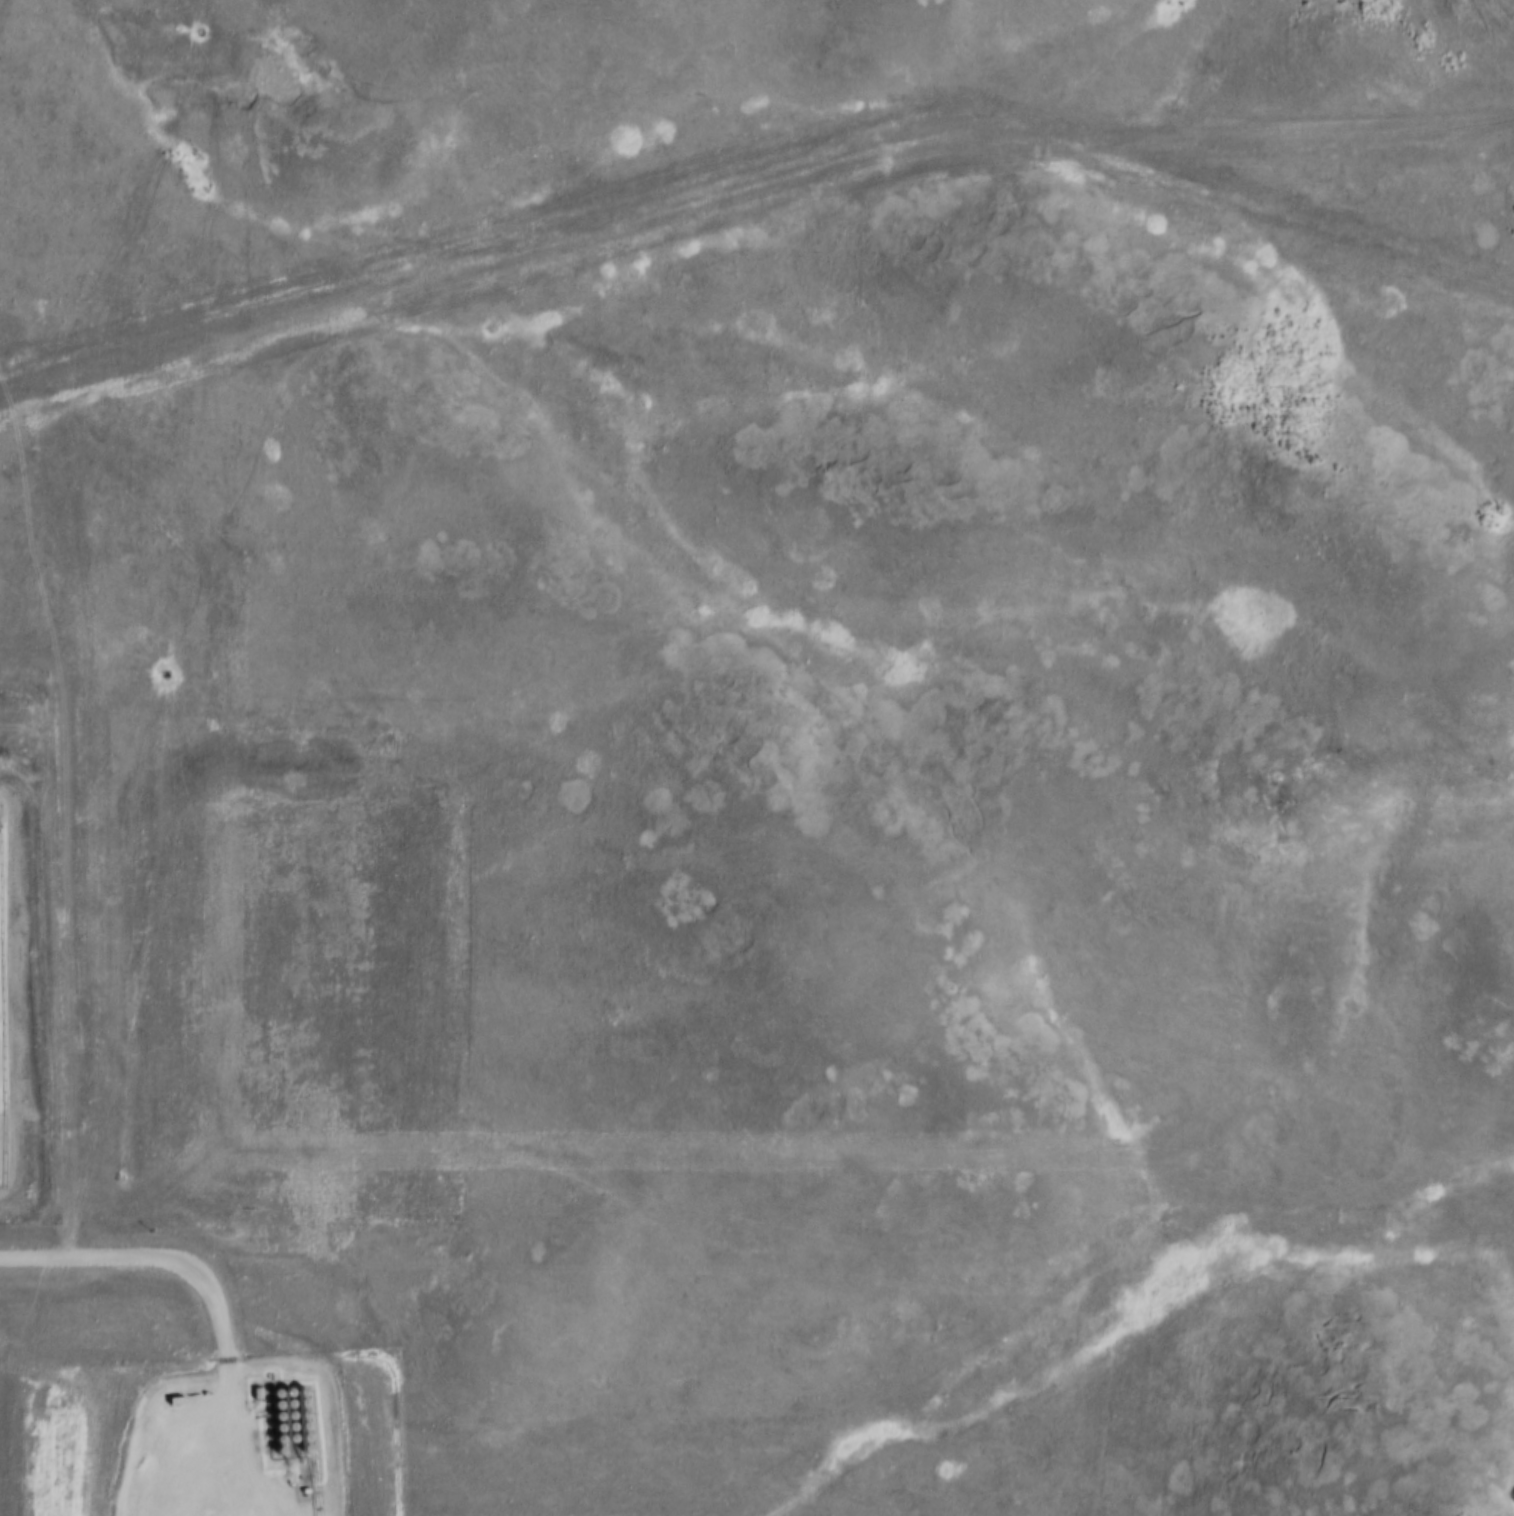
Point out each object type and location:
building: (143, 1512)

